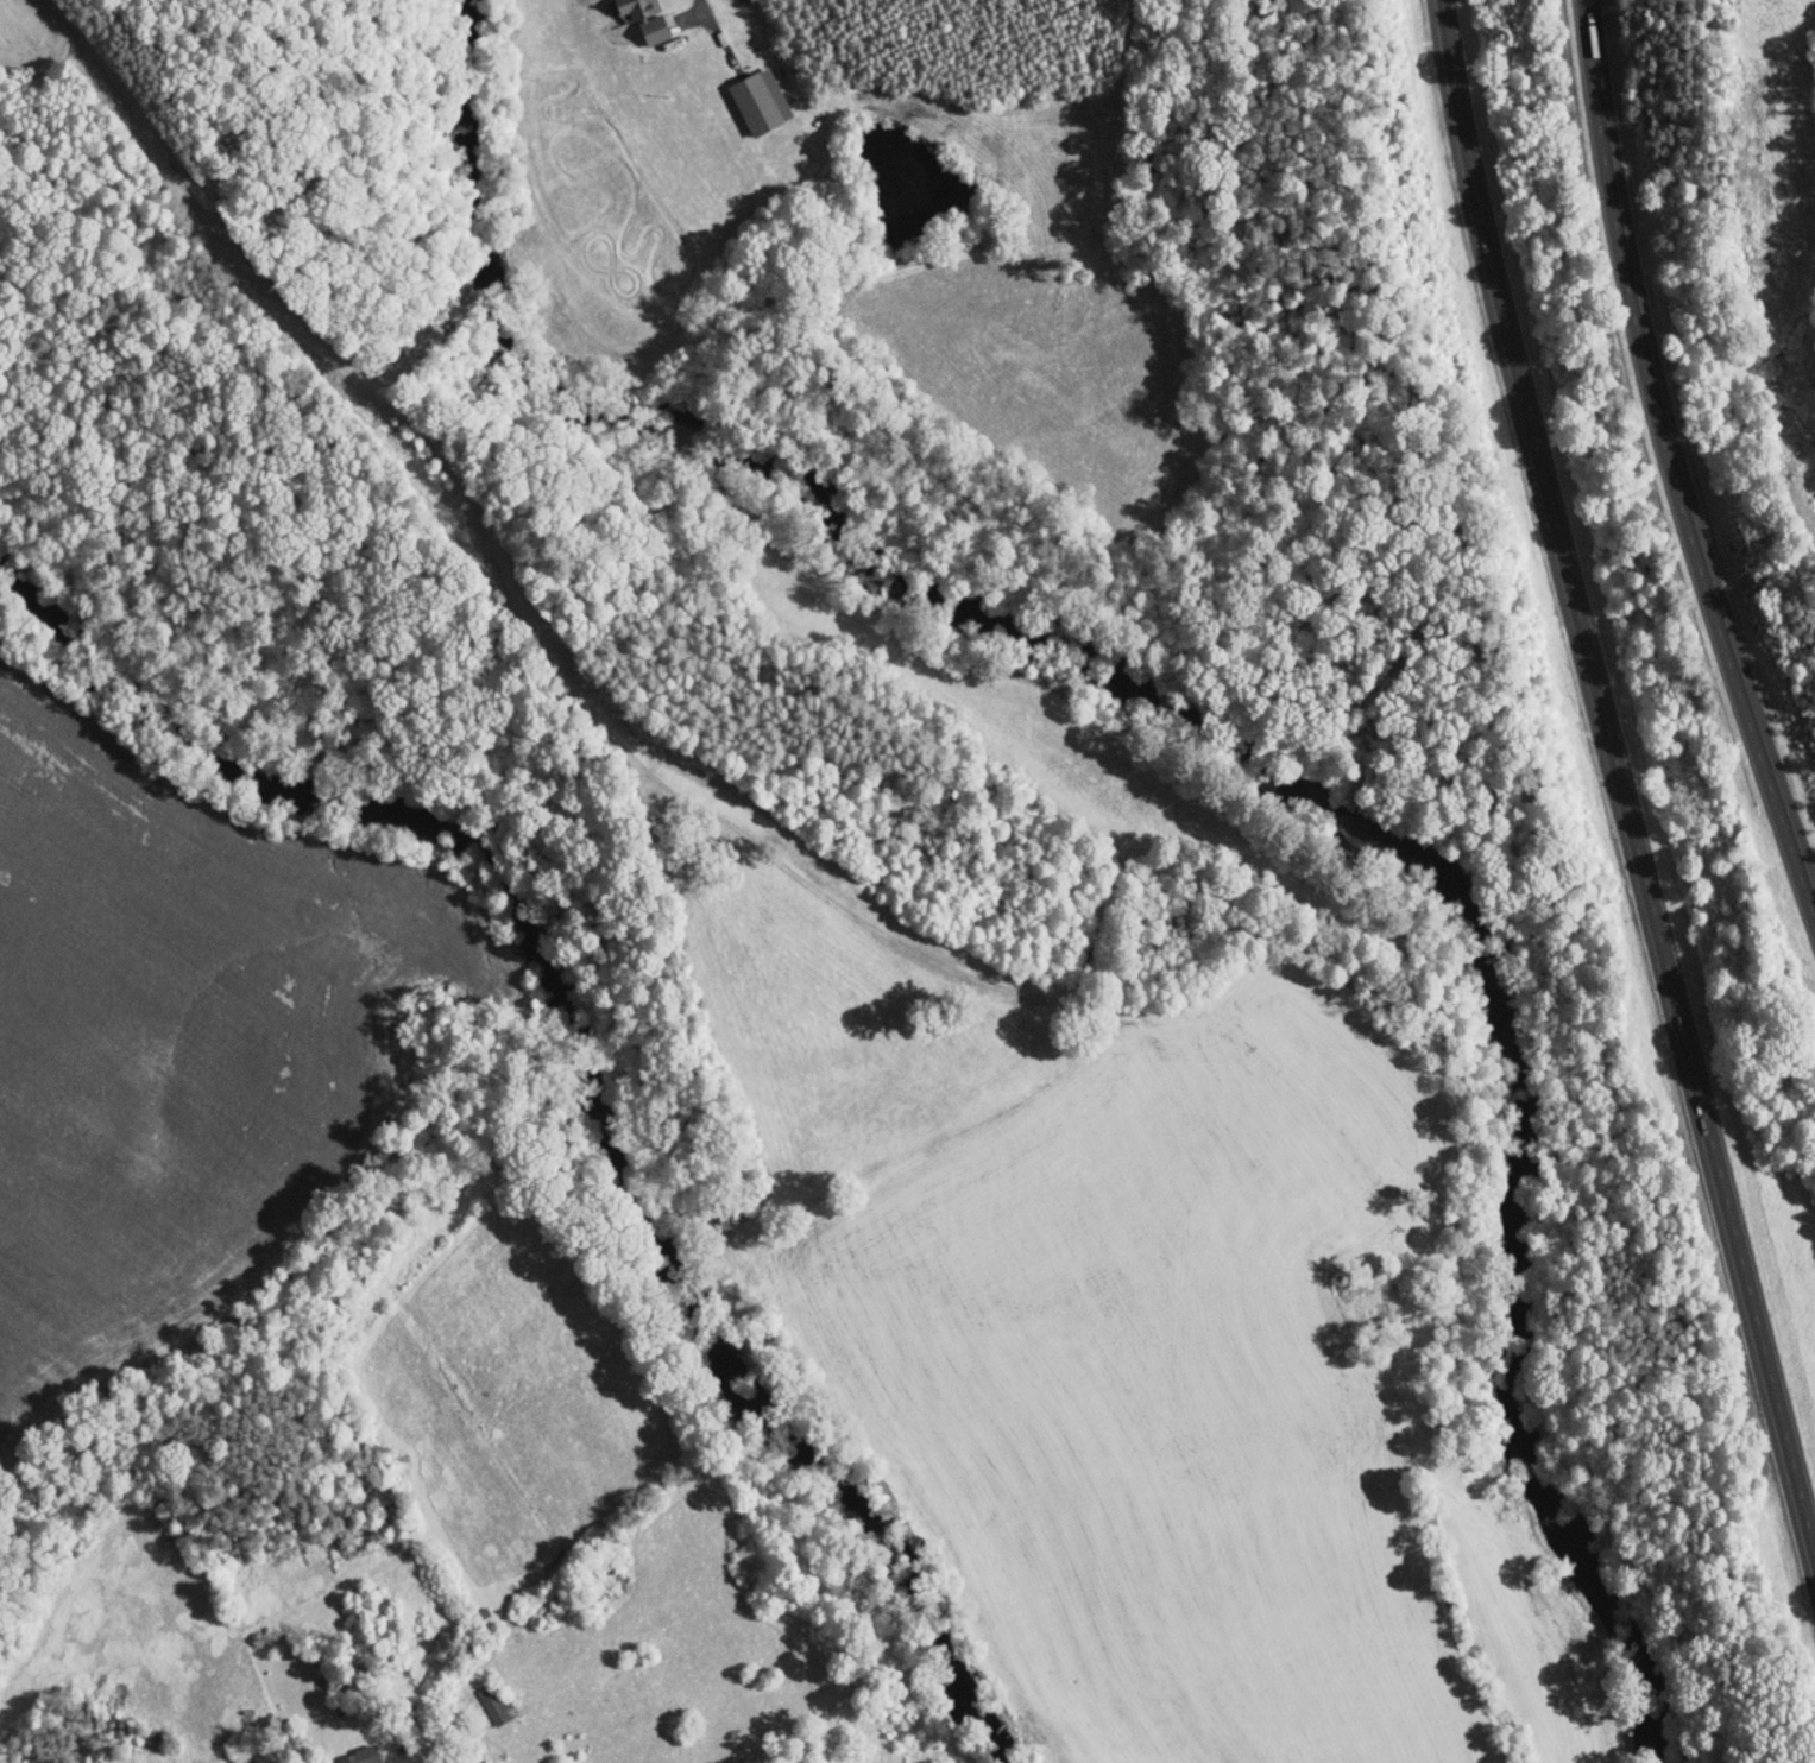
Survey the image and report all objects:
building: (619, 5)
building: (636, 24)
building: (743, 95)
river: (718, 453)
road: (1671, 466)
road: (591, 695)
road: (1611, 760)
river: (1317, 805)
river: (591, 1074)
river: (1504, 1269)
building: (481, 1698)
building: (341, 1752)

